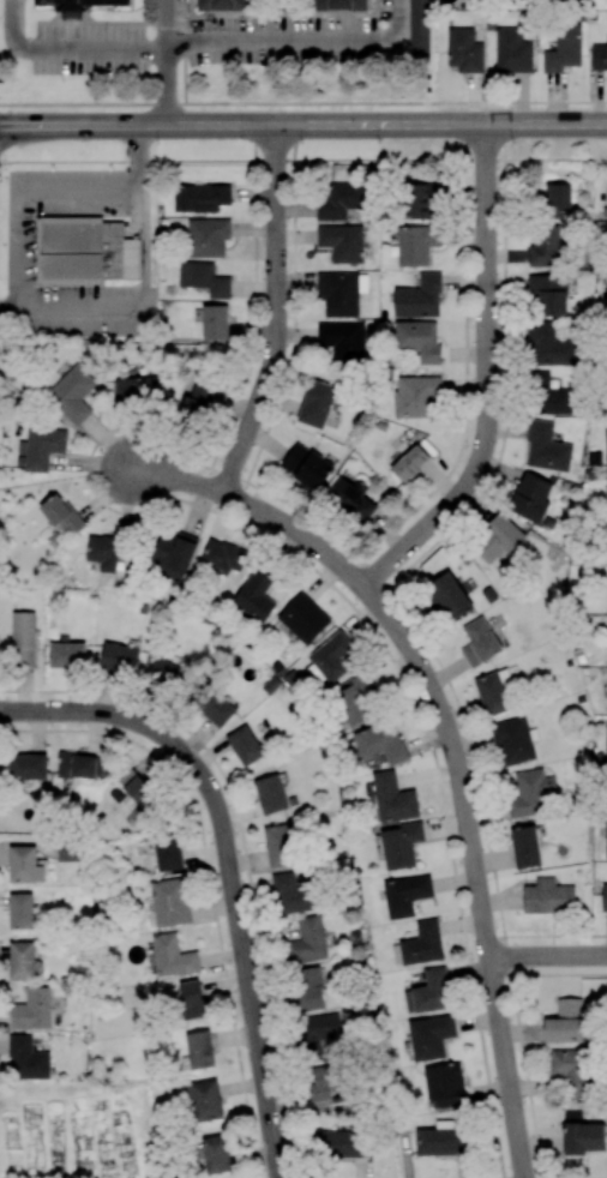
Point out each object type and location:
building: (78, 4)
building: (223, 5)
building: (341, 5)
building: (419, 29)
road: (303, 46)
road: (68, 48)
building: (564, 49)
building: (464, 50)
building: (512, 52)
building: (599, 56)
road: (166, 62)
road: (302, 102)
road: (360, 124)
road: (56, 125)
road: (302, 160)
road: (79, 193)
building: (200, 198)
building: (558, 198)
building: (341, 200)
building: (420, 200)
building: (208, 238)
building: (342, 242)
building: (415, 245)
building: (545, 245)
building: (84, 251)
road: (20, 256)
building: (203, 278)
road: (143, 288)
building: (338, 293)
building: (548, 294)
building: (419, 297)
road: (275, 313)
building: (215, 321)
building: (342, 339)
building: (419, 339)
building: (548, 345)
road: (486, 379)
building: (136, 391)
building: (72, 393)
building: (547, 396)
building: (417, 397)
building: (197, 401)
building: (317, 404)
building: (546, 447)
building: (606, 447)
building: (40, 449)
building: (409, 463)
building: (306, 467)
road: (43, 481)
building: (606, 483)
building: (530, 497)
building: (350, 498)
building: (62, 516)
building: (498, 541)
building: (106, 551)
building: (173, 555)
building: (223, 555)
building: (256, 595)
building: (449, 595)
building: (303, 618)
building: (23, 639)
building: (480, 642)
building: (66, 654)
building: (332, 657)
building: (119, 659)
building: (169, 673)
building: (492, 693)
building: (355, 701)
building: (214, 708)
road: (449, 740)
building: (512, 741)
building: (380, 743)
building: (606, 743)
building: (245, 745)
building: (79, 765)
building: (28, 767)
building: (143, 793)
building: (529, 793)
building: (270, 794)
building: (392, 798)
building: (606, 836)
building: (401, 845)
building: (278, 846)
building: (524, 847)
building: (168, 854)
road: (228, 864)
building: (24, 865)
building: (292, 894)
building: (405, 895)
building: (548, 896)
building: (603, 897)
building: (170, 902)
building: (20, 910)
building: (307, 940)
building: (422, 944)
building: (172, 956)
road: (548, 956)
building: (22, 961)
building: (307, 988)
building: (428, 992)
building: (191, 999)
building: (32, 1010)
building: (565, 1022)
building: (319, 1032)
building: (431, 1036)
building: (199, 1050)
building: (26, 1059)
building: (569, 1069)
building: (324, 1082)
building: (445, 1086)
building: (204, 1100)
building: (583, 1137)
building: (342, 1143)
building: (216, 1154)

